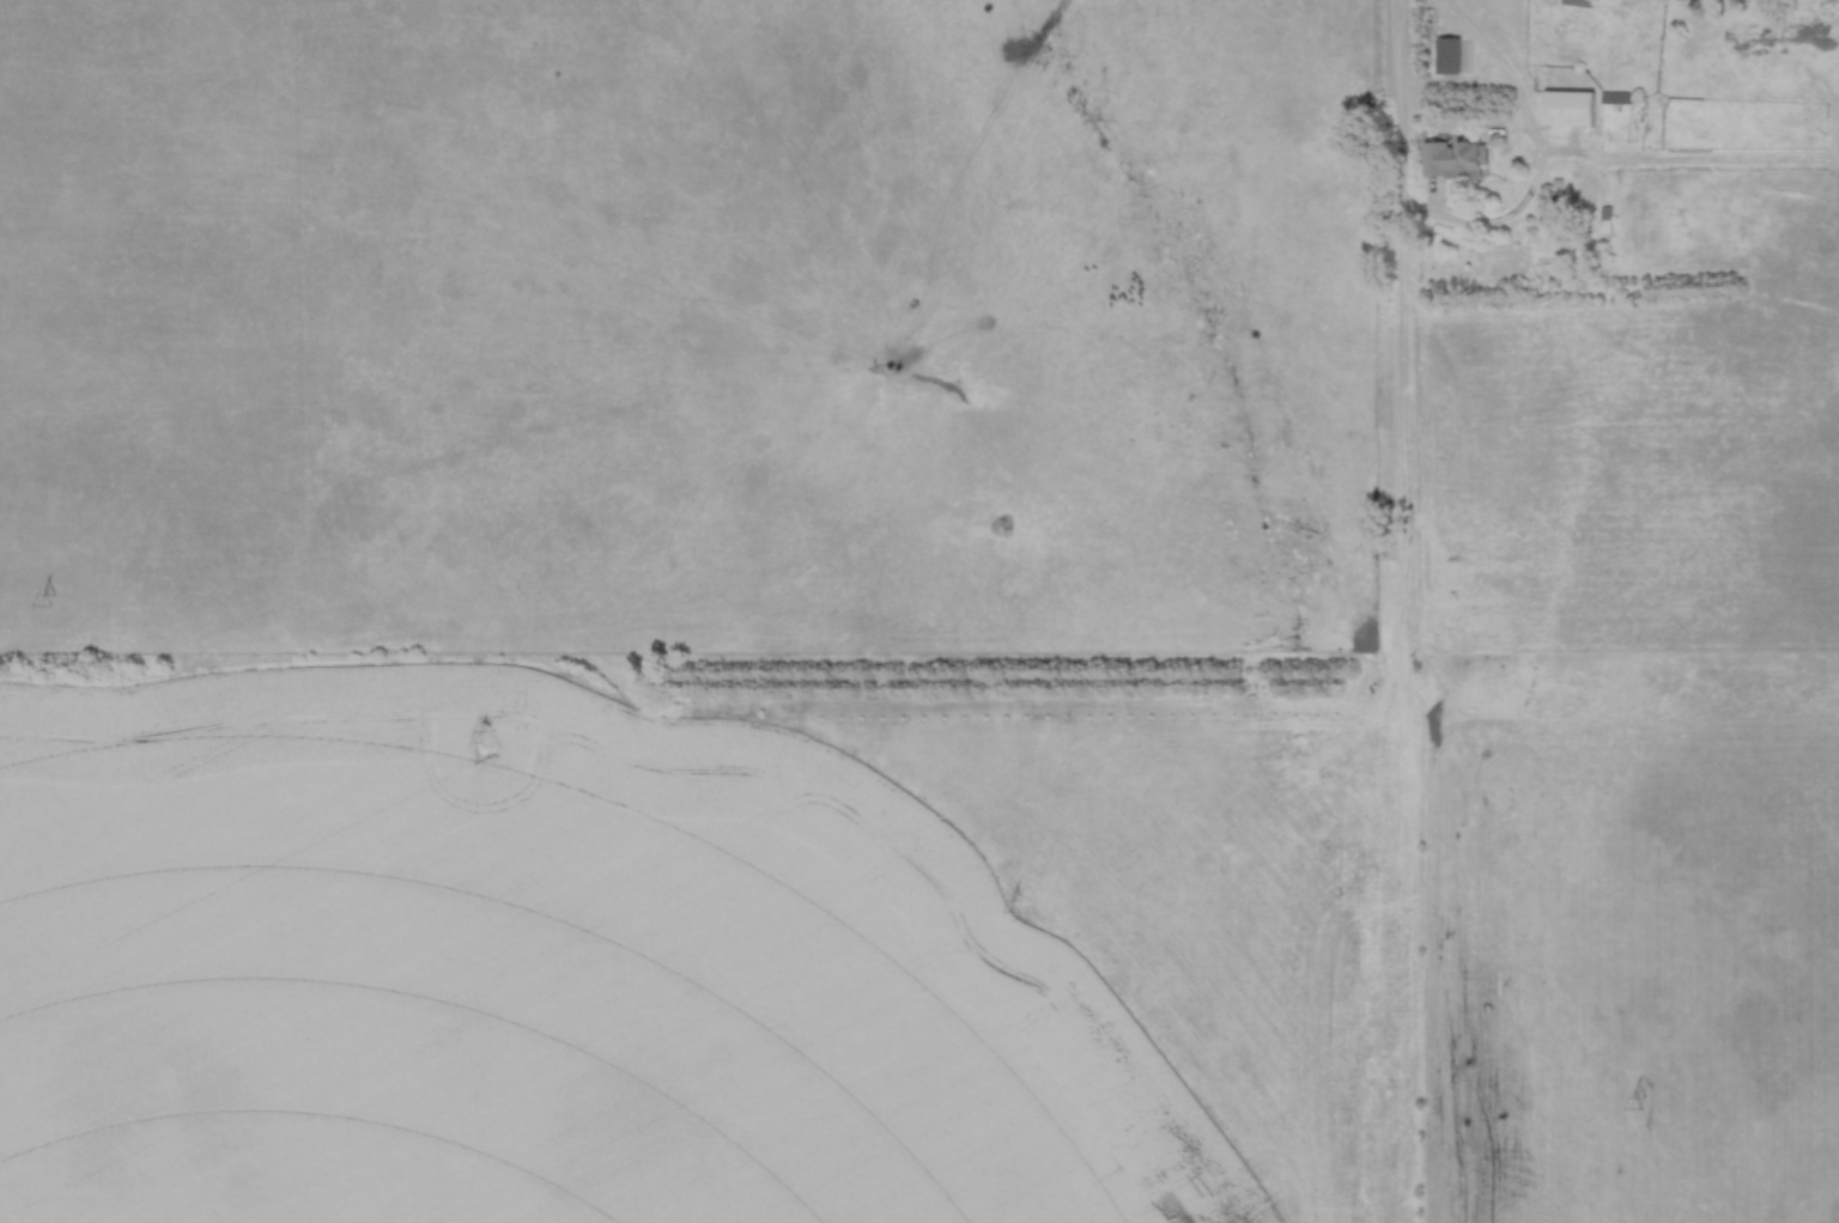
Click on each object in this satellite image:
building: (1578, 4)
building: (1571, 109)
road: (1537, 159)
building: (1456, 160)
road: (1396, 330)
power tower: (56, 598)
power tower: (486, 738)
power tower: (1021, 906)
power tower: (1644, 1102)

